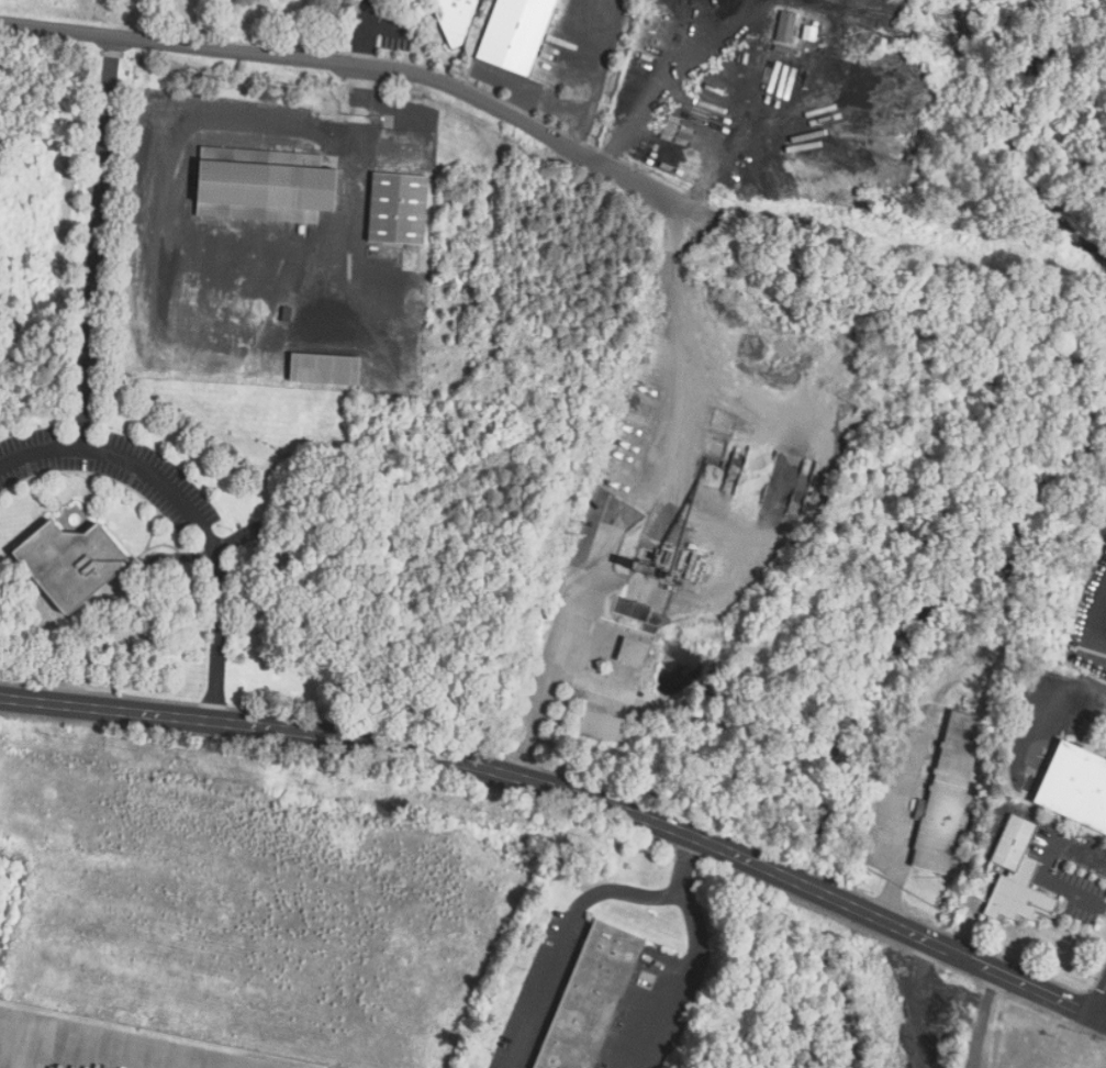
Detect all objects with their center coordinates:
building: (300, 4)
building: (455, 19)
building: (786, 27)
building: (516, 34)
road: (599, 55)
road: (315, 60)
building: (646, 67)
road: (668, 81)
road: (567, 102)
road: (348, 166)
building: (265, 187)
road: (653, 190)
building: (399, 210)
road: (91, 243)
road: (673, 319)
building: (326, 371)
road: (193, 511)
building: (71, 565)
building: (690, 580)
road: (1094, 620)
building: (638, 648)
road: (550, 668)
building: (610, 723)
road: (915, 788)
building: (1076, 788)
building: (949, 791)
road: (571, 794)
road: (688, 868)
building: (1018, 878)
road: (884, 898)
road: (569, 941)
road: (683, 983)
building: (592, 999)
road: (920, 1003)
road: (1102, 1009)
road: (984, 1020)

